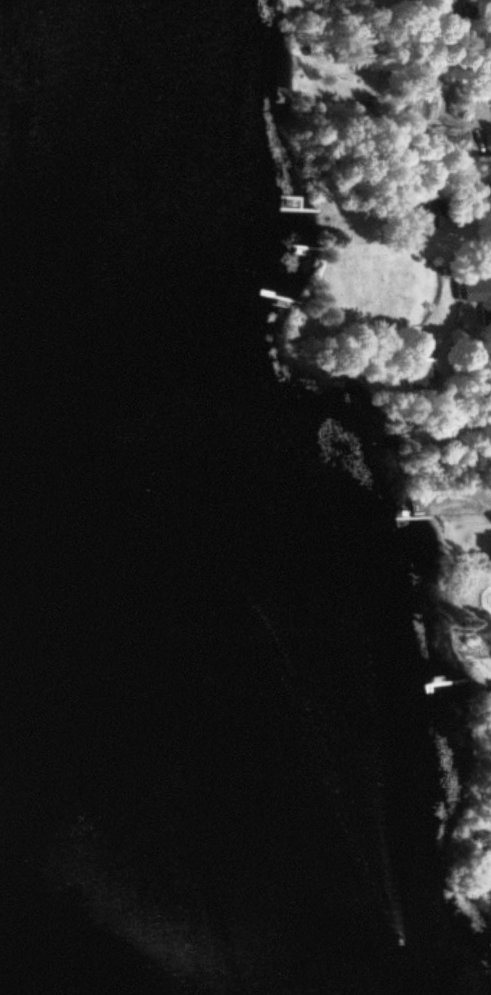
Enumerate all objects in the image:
building: (465, 9)
building: (475, 291)
building: (417, 379)

